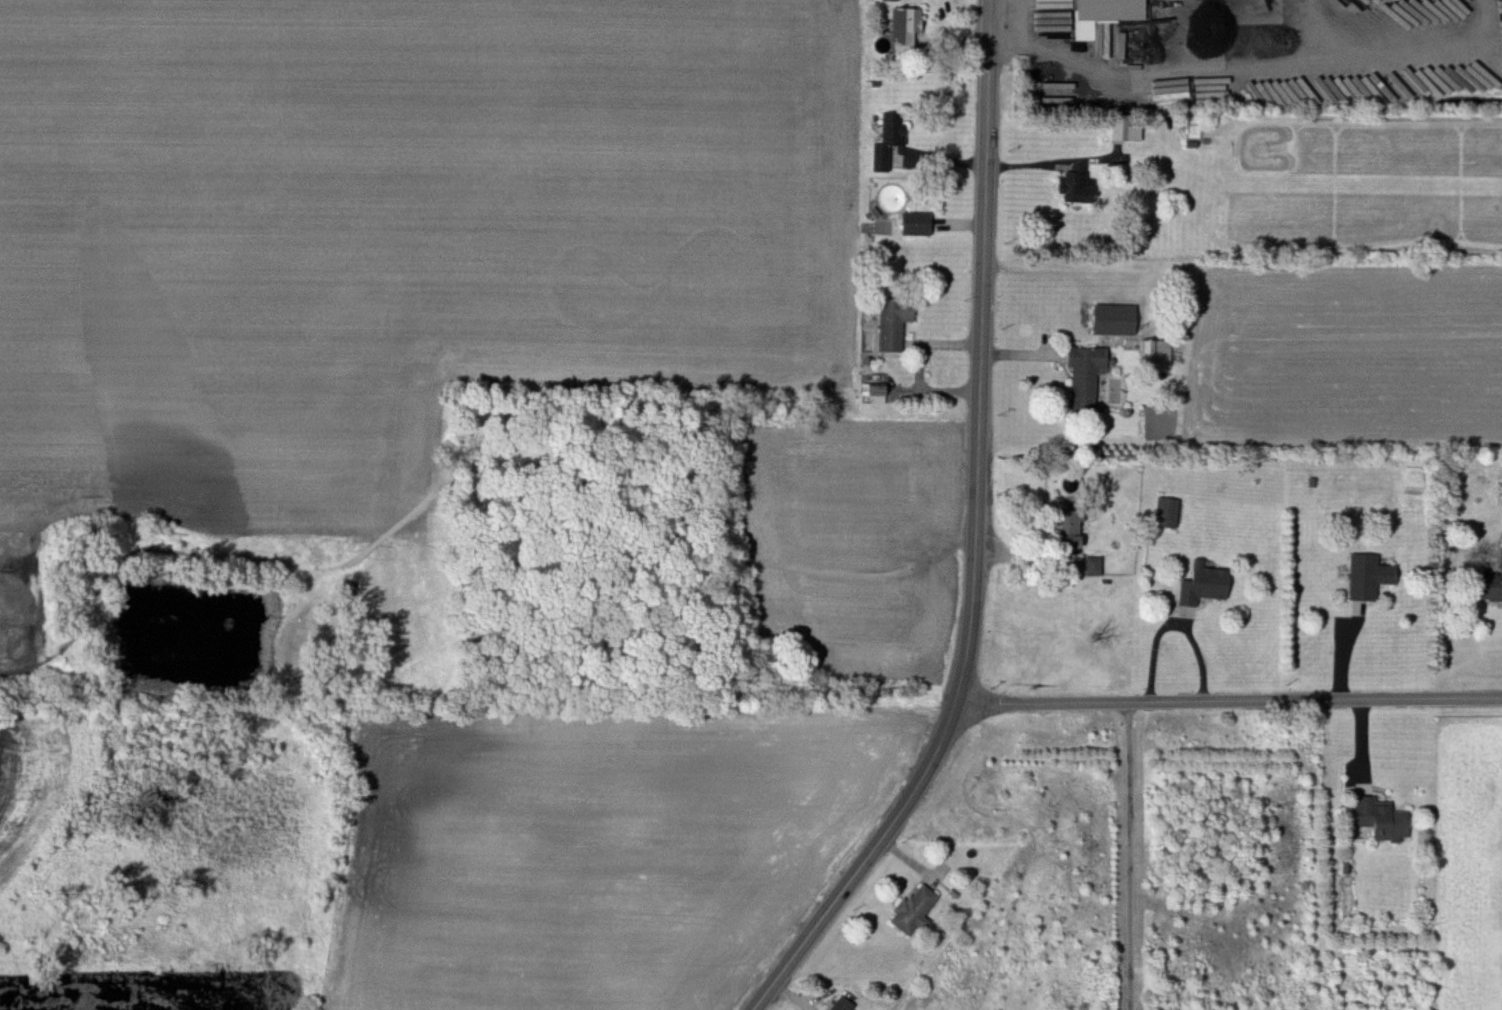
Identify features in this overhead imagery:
building: (887, 0)
building: (1113, 10)
building: (910, 31)
road: (1250, 61)
building: (892, 141)
building: (1079, 187)
building: (920, 225)
building: (897, 323)
building: (1157, 352)
building: (1088, 374)
building: (880, 394)
road: (490, 472)
road: (609, 506)
building: (1170, 513)
road: (977, 537)
building: (1371, 577)
building: (1207, 584)
building: (1492, 587)
road: (1229, 700)
building: (1384, 819)
road: (1130, 855)
building: (917, 909)
building: (846, 1005)

